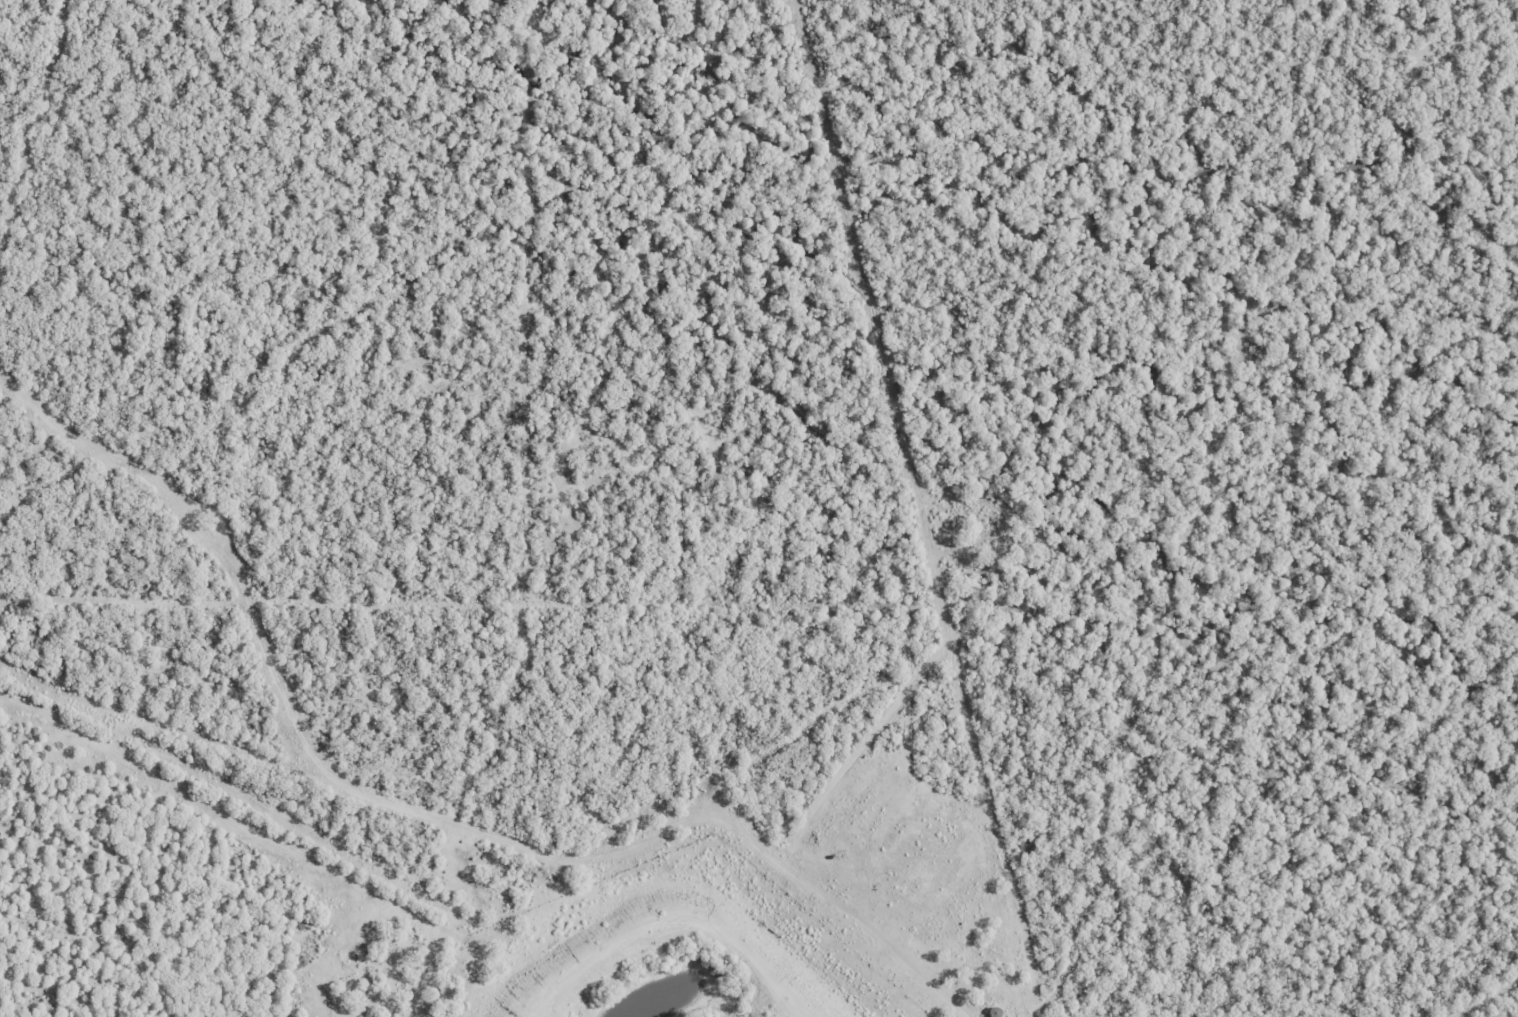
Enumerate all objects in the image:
road: (510, 874)

